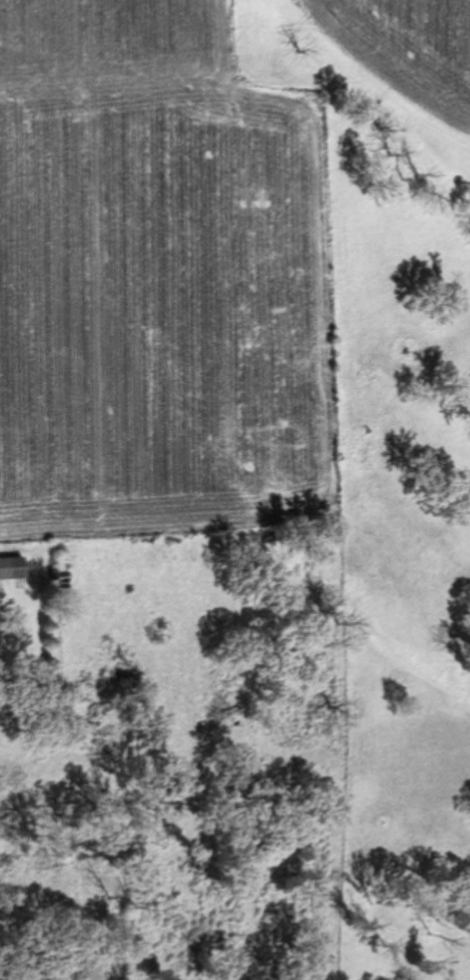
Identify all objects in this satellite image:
building: (13, 568)

